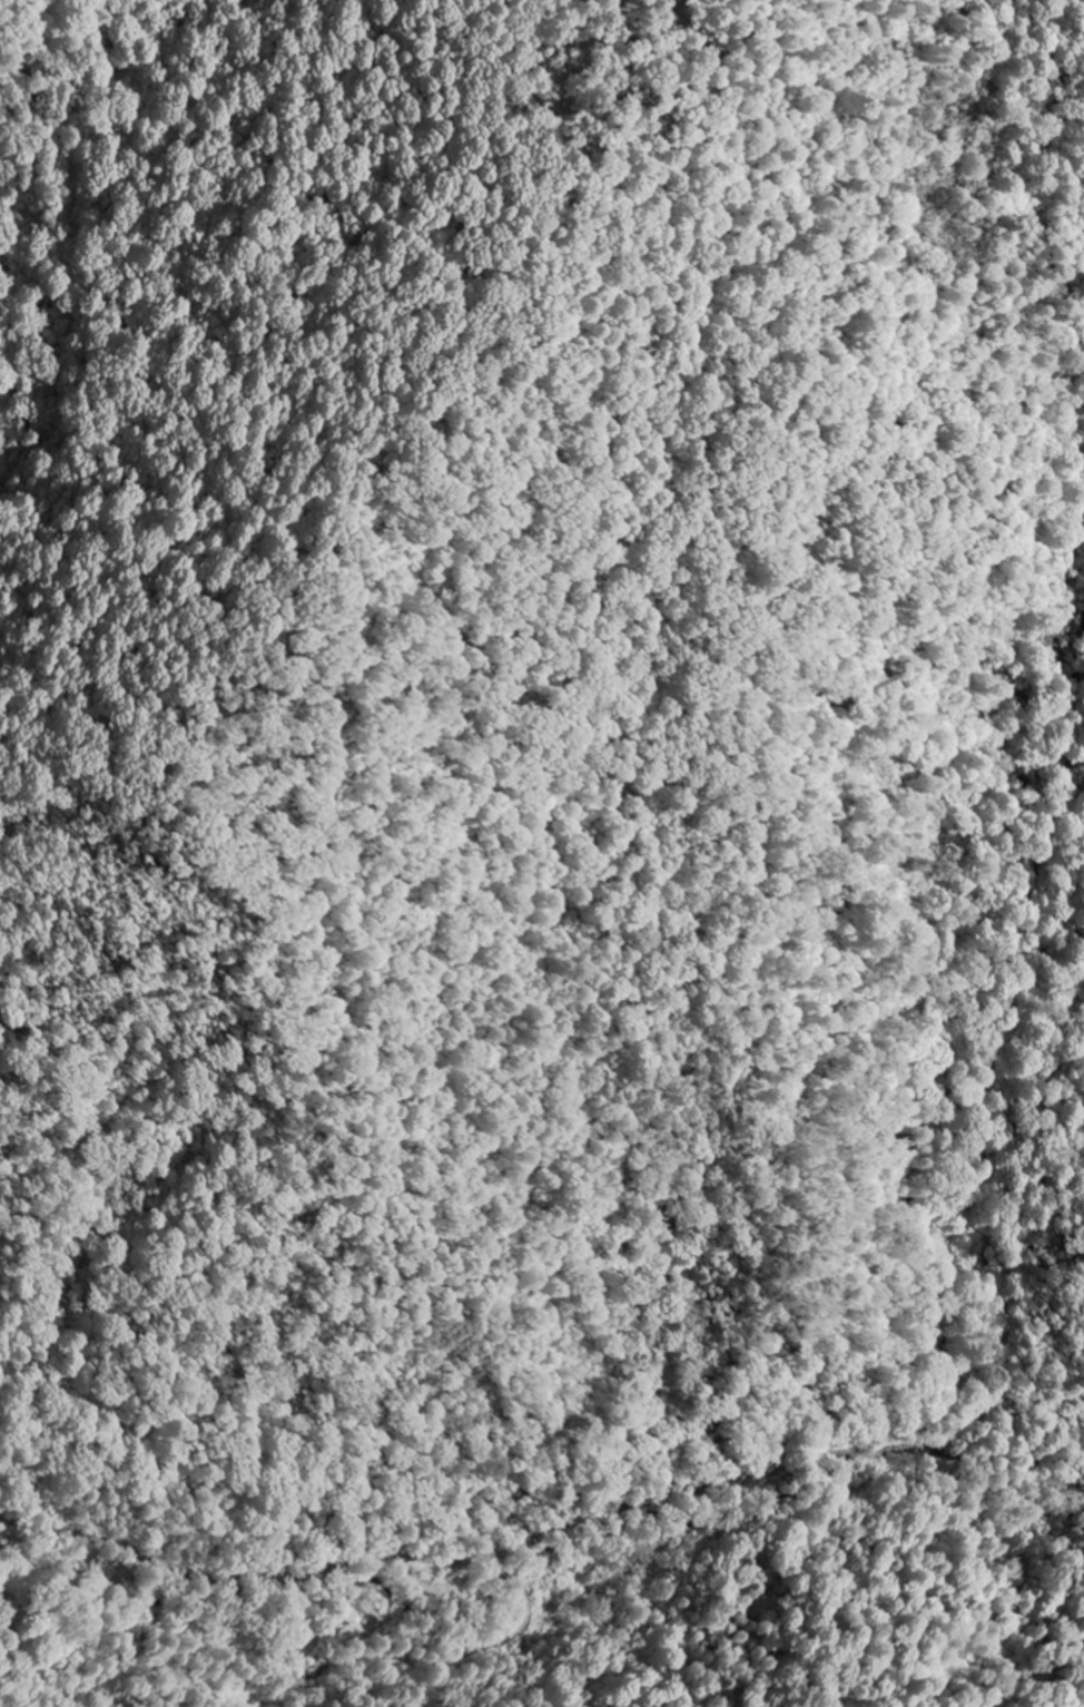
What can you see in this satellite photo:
road: (540, 1536)

